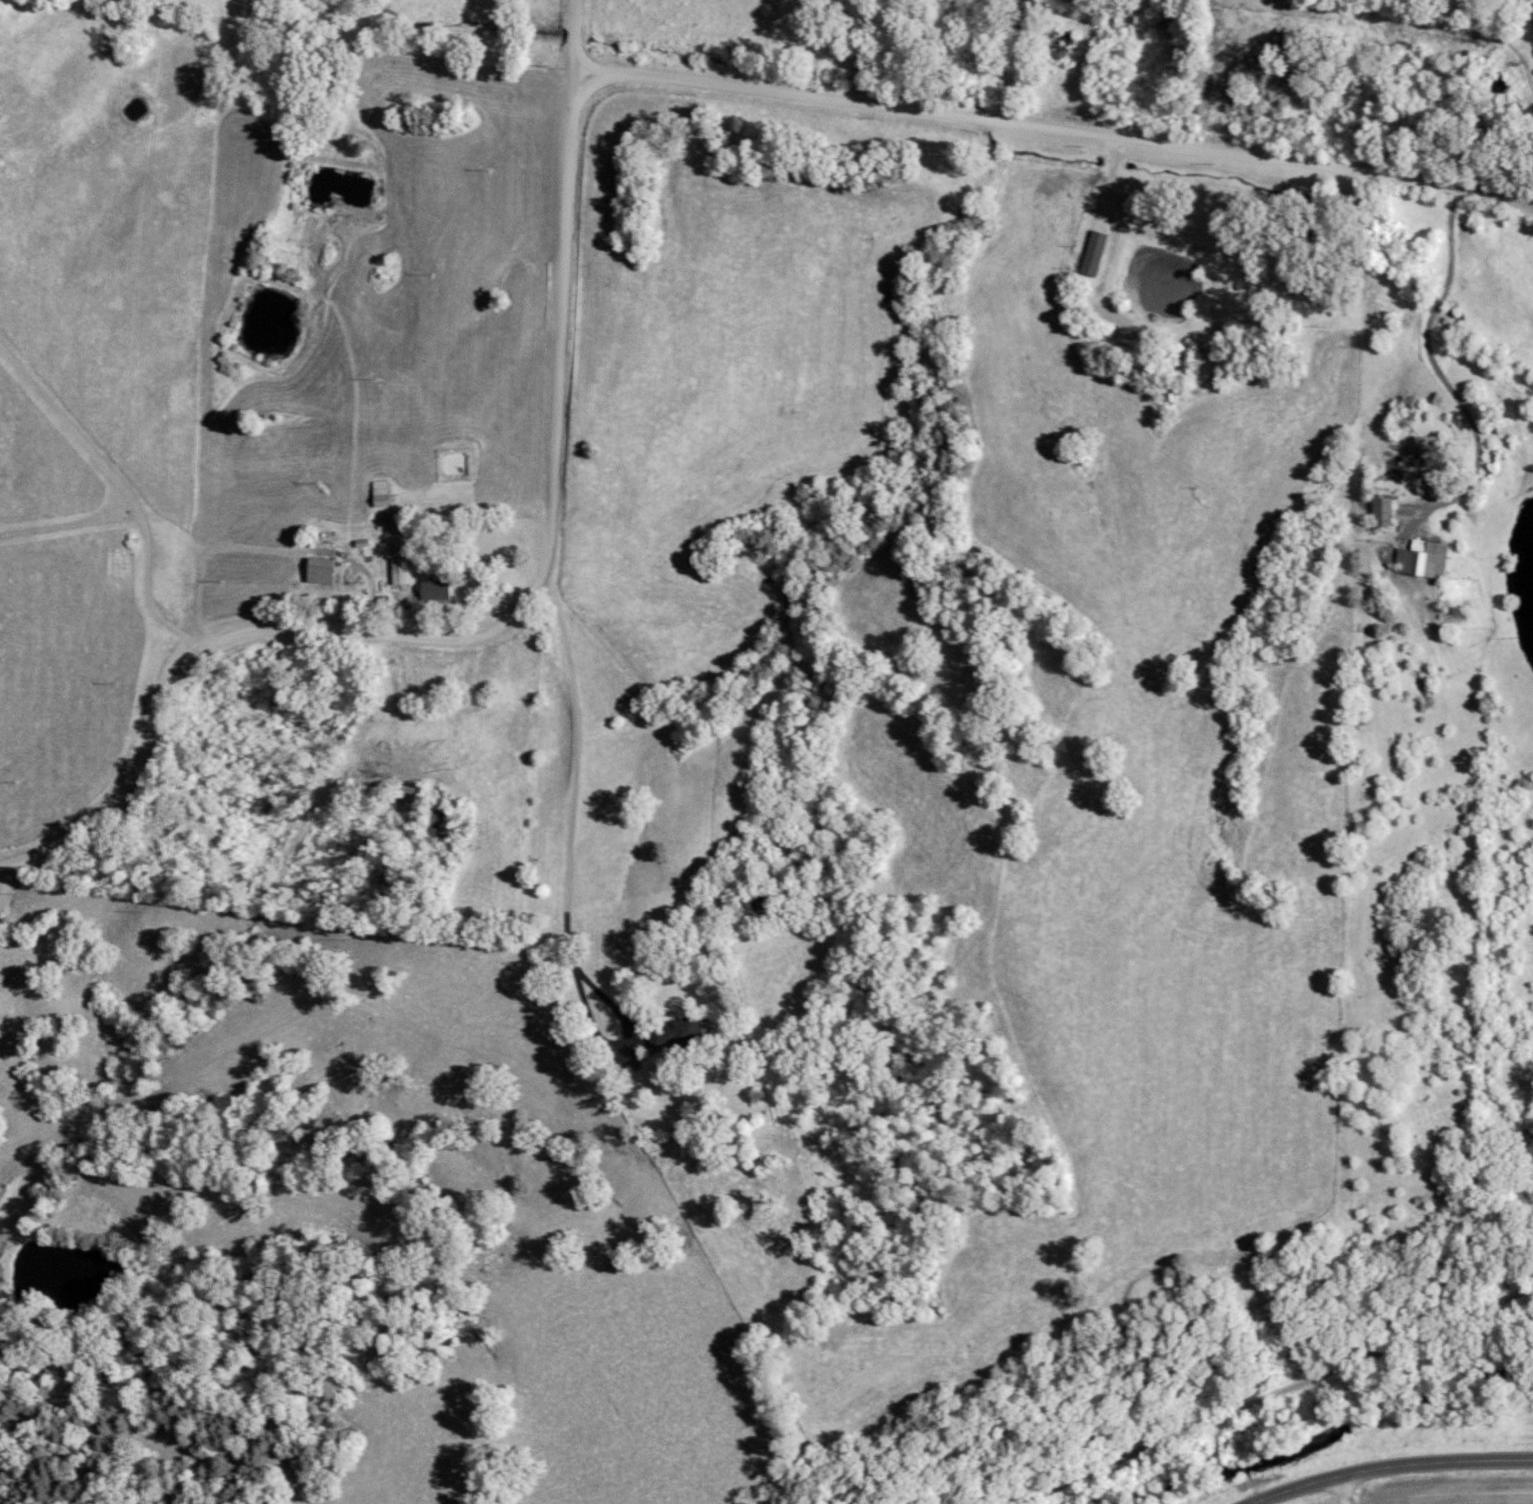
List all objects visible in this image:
building: (1012, 7)
road: (580, 38)
building: (1056, 42)
road: (1057, 128)
building: (1090, 253)
road: (1440, 368)
building: (1420, 452)
building: (384, 494)
building: (1377, 511)
building: (1417, 559)
building: (323, 571)
building: (402, 571)
building: (440, 590)
road: (481, 632)
road: (579, 809)
building: (681, 1033)
road: (1278, 1391)
road: (1391, 1466)
road: (1346, 1489)

